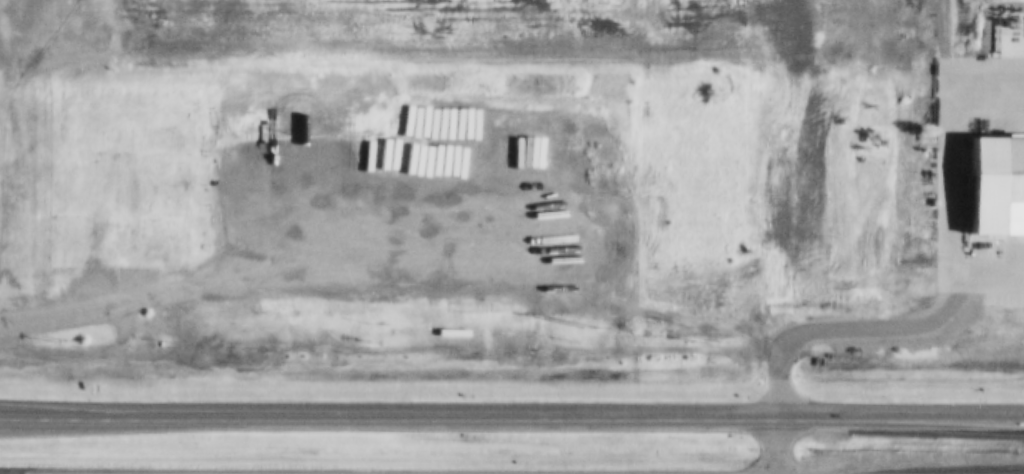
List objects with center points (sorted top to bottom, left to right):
crop: (105, 147)
building: (990, 176)
building: (132, 208)
power tower: (581, 328)
road: (389, 415)
road: (901, 418)

